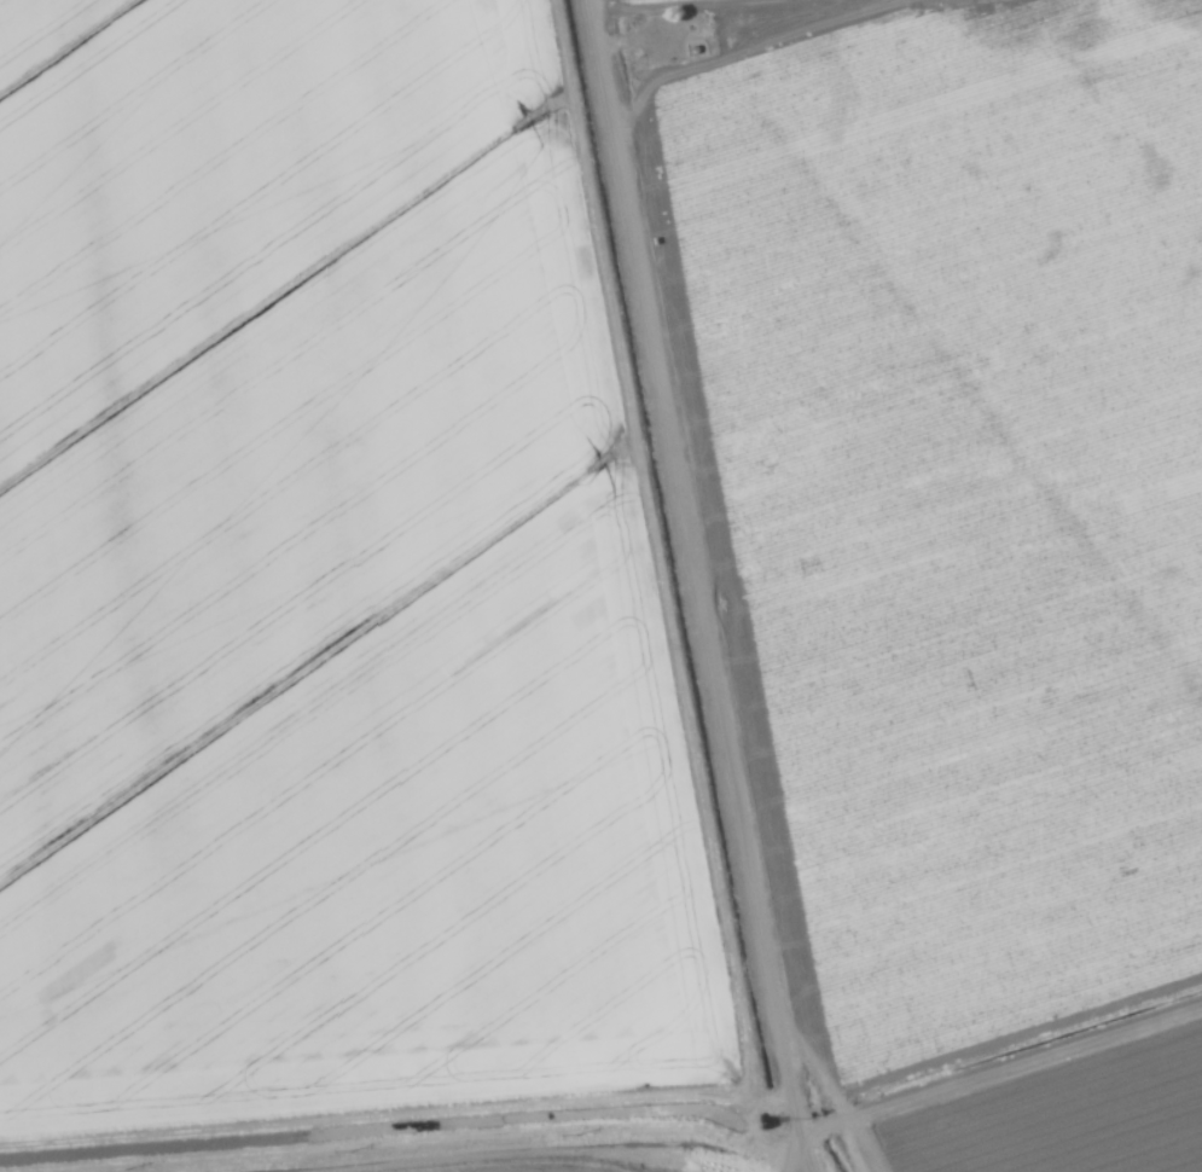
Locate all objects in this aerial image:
road: (699, 586)
road: (982, 1066)
road: (507, 1167)

